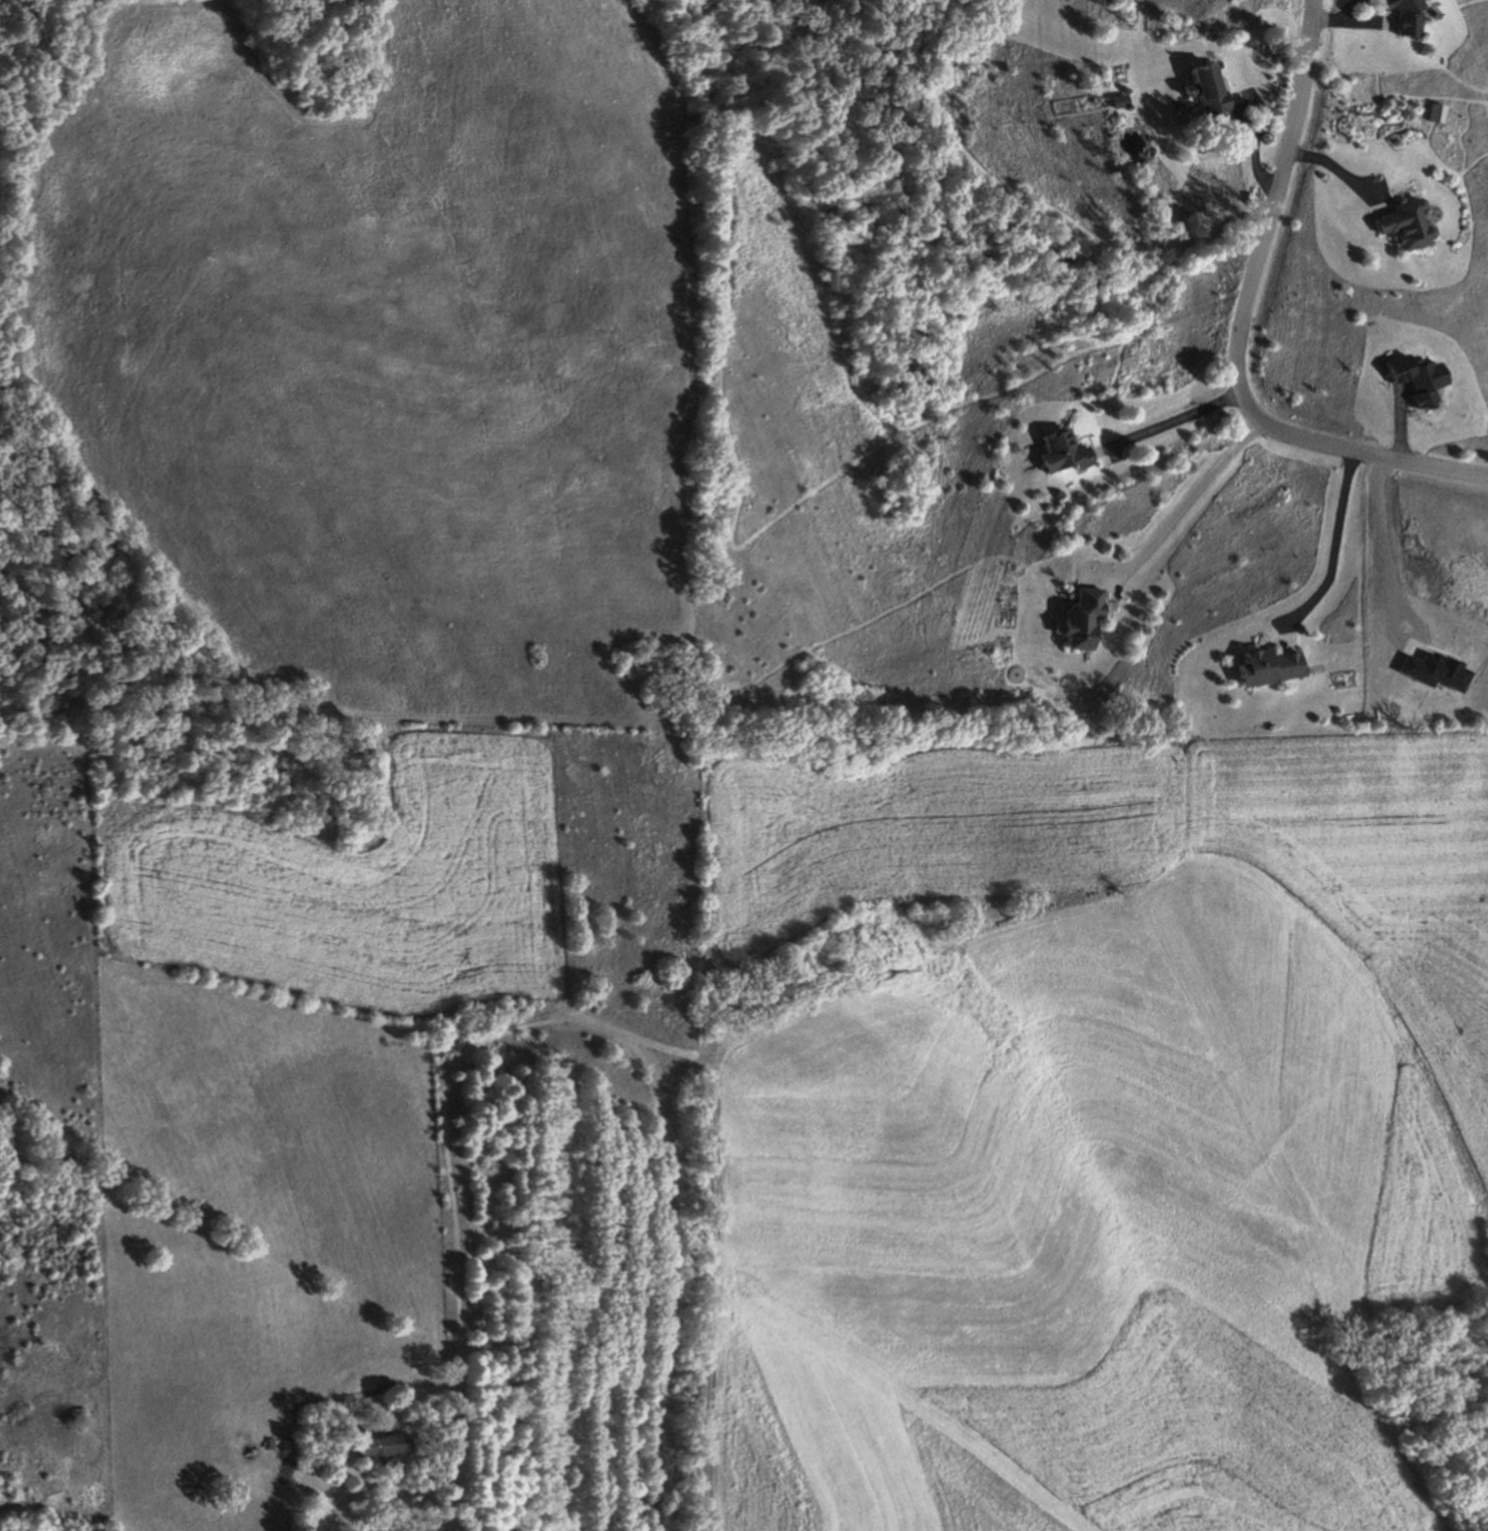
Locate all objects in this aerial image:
building: (1399, 17)
road: (1345, 20)
building: (1205, 96)
building: (1119, 100)
building: (1437, 112)
road: (1256, 148)
road: (1341, 169)
building: (1403, 230)
road: (1239, 327)
building: (1413, 386)
road: (1174, 424)
building: (1063, 457)
road: (1194, 506)
road: (1339, 550)
building: (1094, 612)
building: (1268, 668)
building: (381, 1441)
road: (385, 1481)

